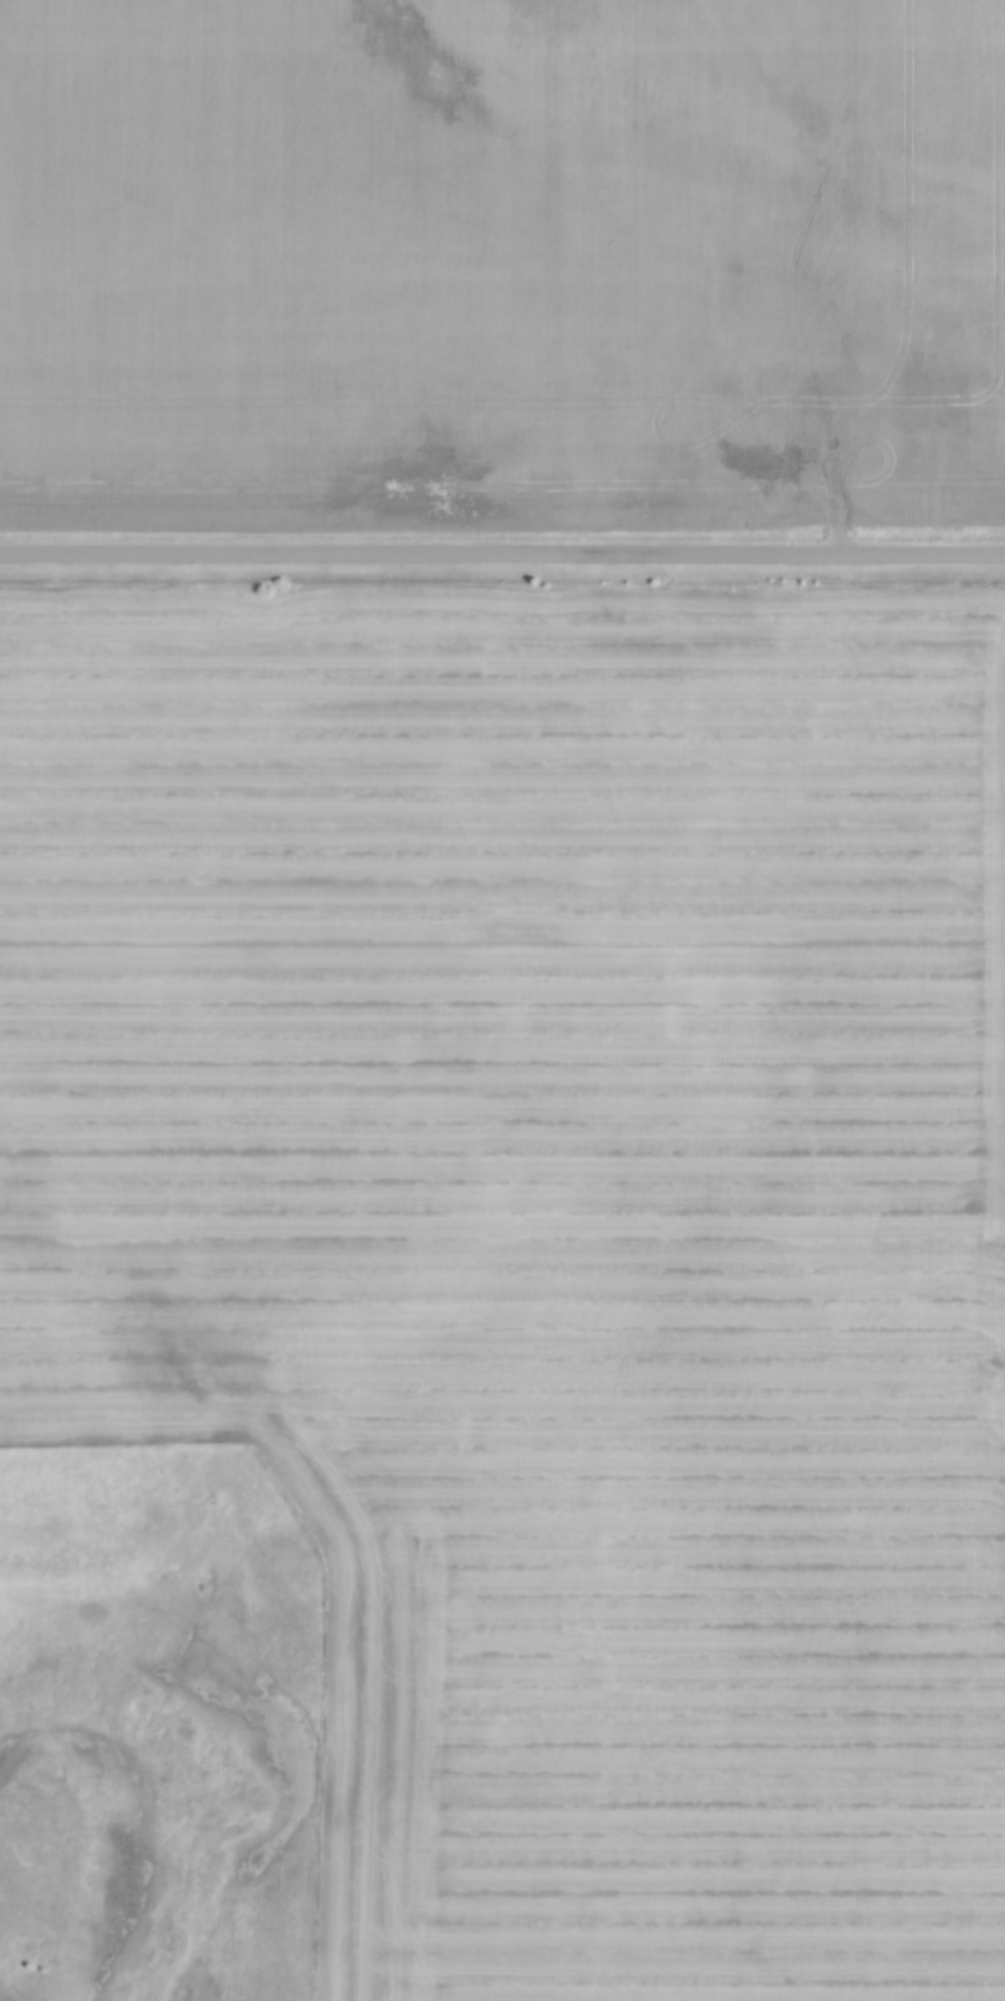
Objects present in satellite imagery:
road: (502, 554)

